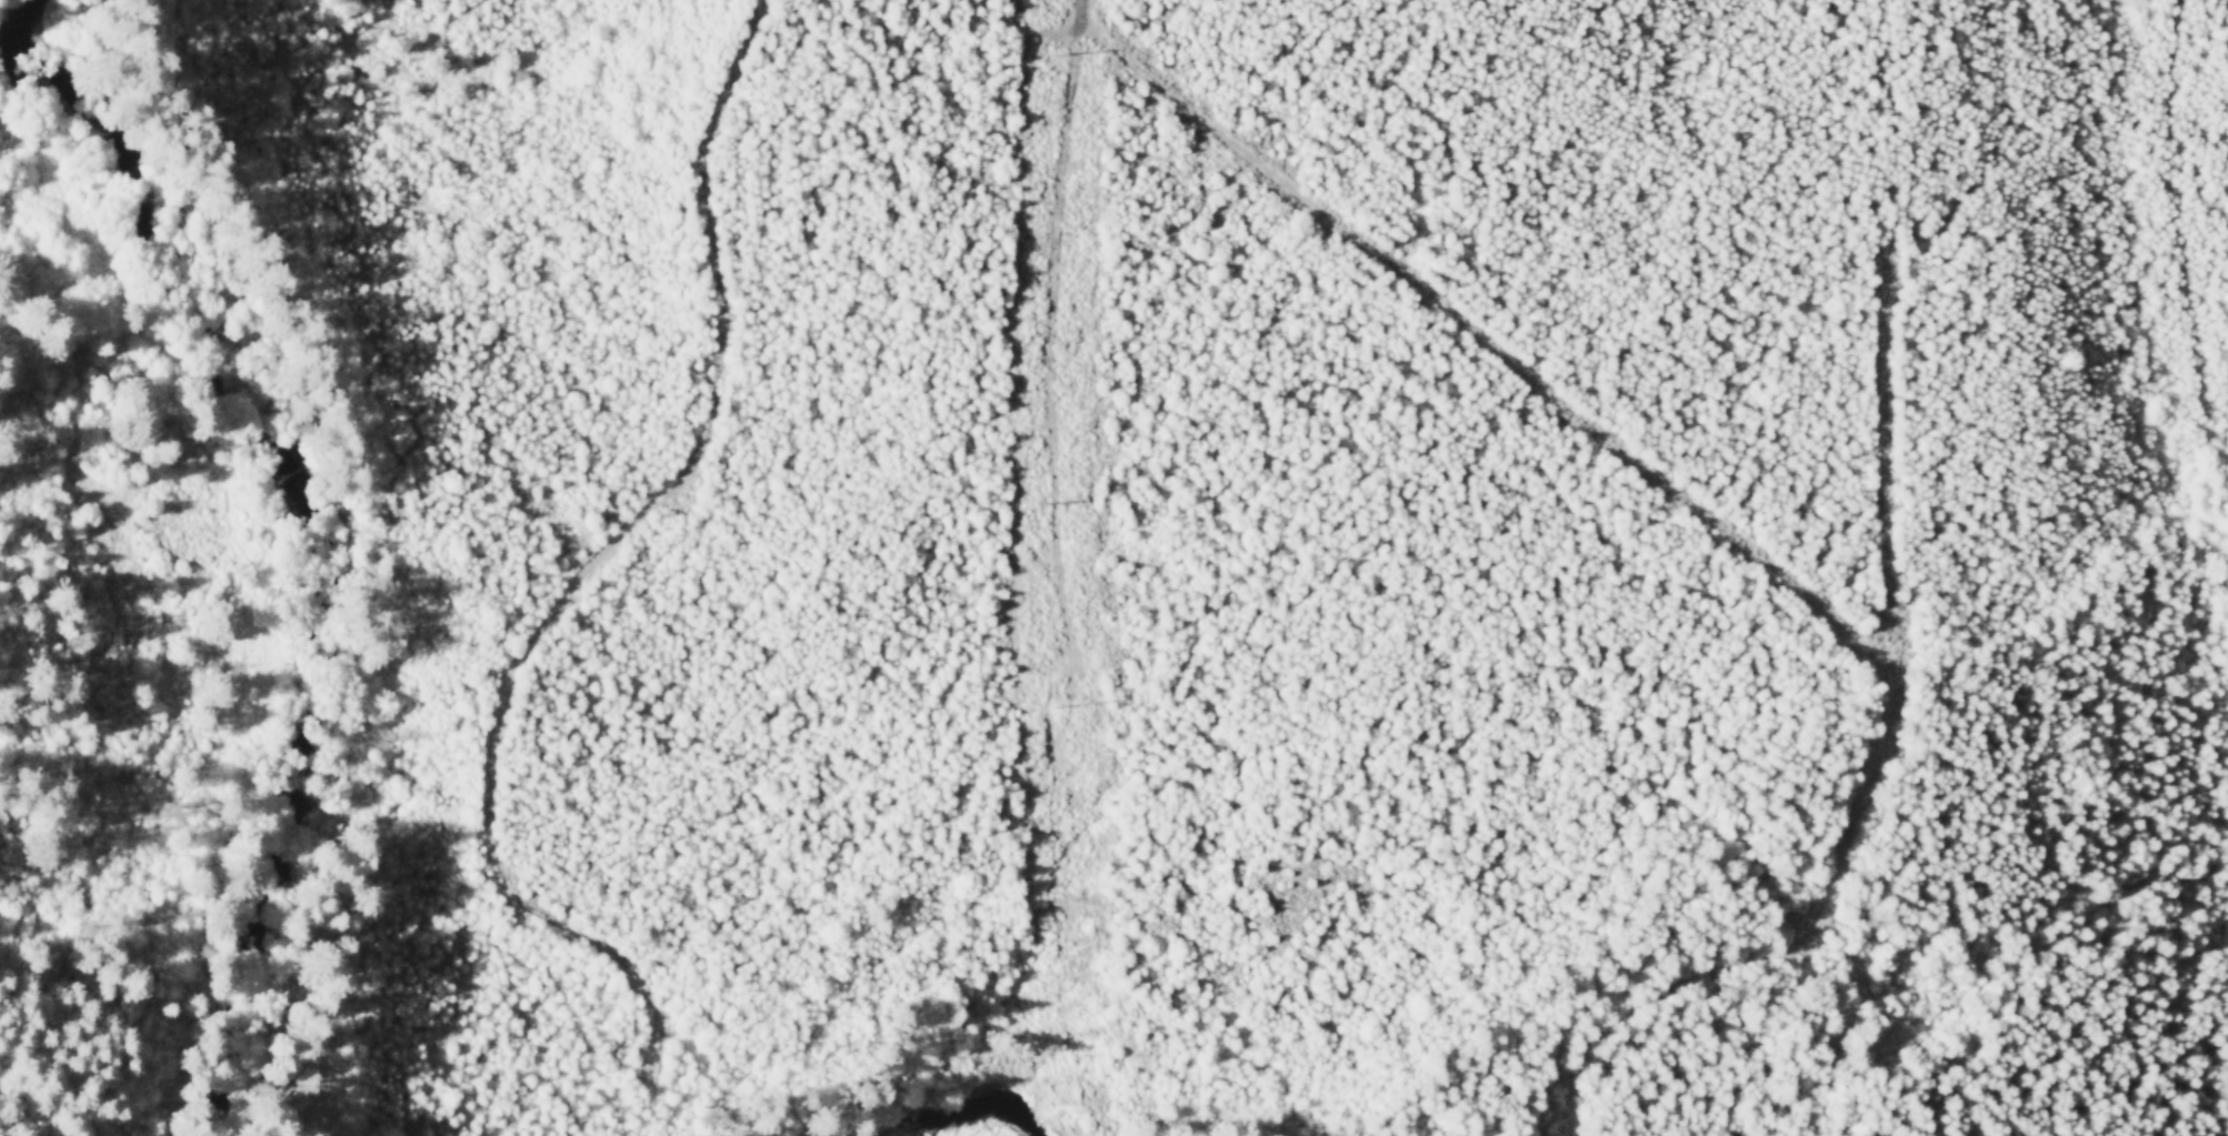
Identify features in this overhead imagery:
river: (1, 3)
road: (1077, 7)
road: (1041, 32)
road: (1052, 352)
road: (1887, 384)
road: (1727, 529)
road: (599, 545)
river: (246, 574)
road: (650, 1042)

